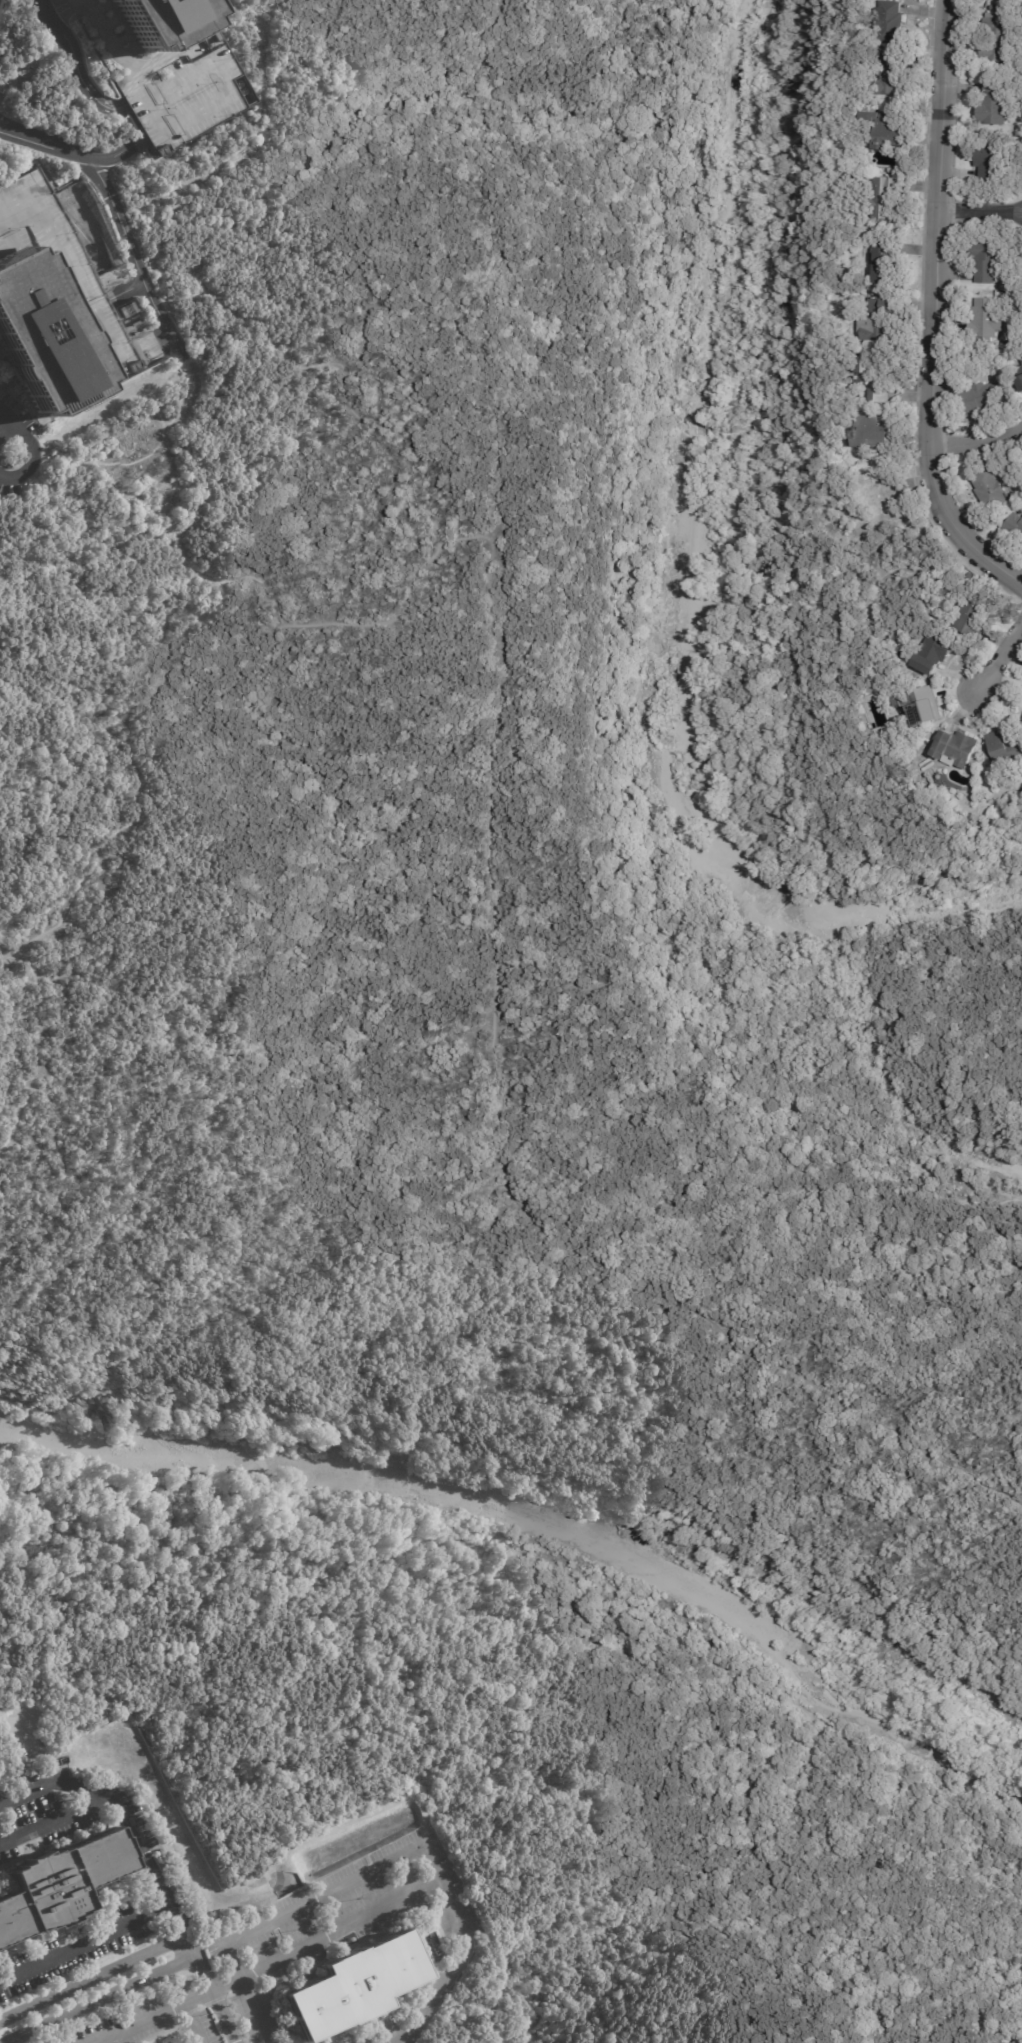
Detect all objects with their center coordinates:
building: (1006, 1)
building: (994, 9)
building: (145, 17)
building: (891, 23)
building: (997, 40)
road: (73, 64)
building: (893, 74)
building: (164, 77)
parking lot: (164, 77)
park: (52, 89)
building: (849, 104)
building: (992, 105)
road: (12, 129)
building: (891, 130)
road: (248, 137)
road: (71, 156)
building: (991, 164)
building: (885, 199)
road: (980, 214)
road: (136, 259)
building: (988, 261)
building: (884, 262)
road: (128, 289)
road: (182, 298)
building: (53, 308)
building: (127, 310)
road: (933, 310)
building: (881, 320)
building: (988, 320)
road: (781, 332)
road: (158, 340)
building: (1020, 360)
road: (345, 370)
building: (872, 380)
building: (1020, 382)
building: (981, 398)
road: (5, 414)
building: (872, 434)
road: (976, 445)
road: (33, 449)
road: (190, 458)
road: (104, 461)
building: (990, 491)
building: (892, 501)
building: (1015, 526)
road: (459, 538)
building: (971, 619)
road: (805, 631)
road: (998, 653)
building: (935, 654)
road: (603, 665)
road: (843, 669)
building: (878, 689)
building: (921, 706)
road: (132, 719)
building: (956, 748)
building: (1006, 749)
road: (605, 776)
road: (766, 809)
park: (516, 1048)
road: (998, 1114)
road: (499, 1164)
road: (970, 1182)
road: (30, 1494)
road: (12, 1593)
road: (529, 1625)
road: (17, 1720)
parking lot: (19, 1728)
road: (56, 1821)
road: (411, 1850)
road: (149, 1865)
building: (54, 1881)
road: (84, 1942)
road: (270, 1962)
road: (92, 1977)
building: (349, 1986)
road: (246, 1993)
road: (102, 1998)
road: (192, 2023)
road: (397, 2041)
building: (149, 2042)

